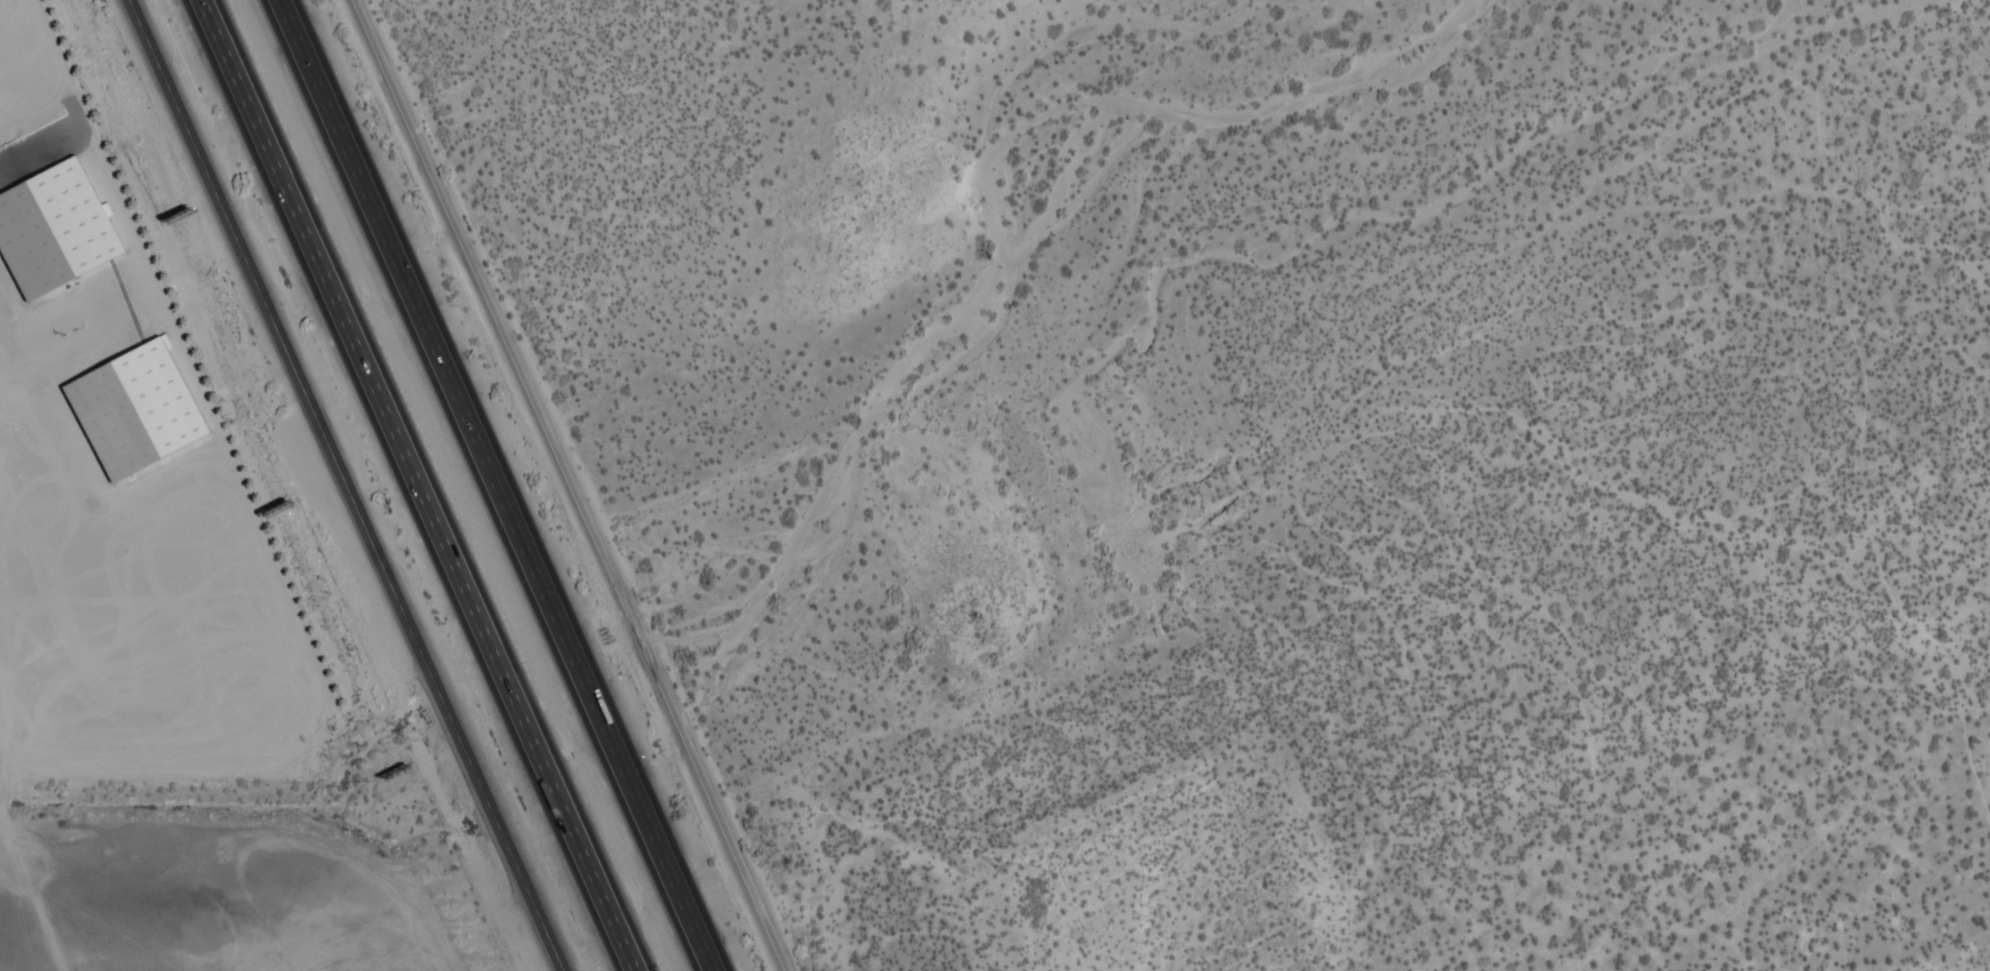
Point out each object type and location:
road: (347, 485)
road: (416, 485)
road: (497, 485)
road: (572, 485)

